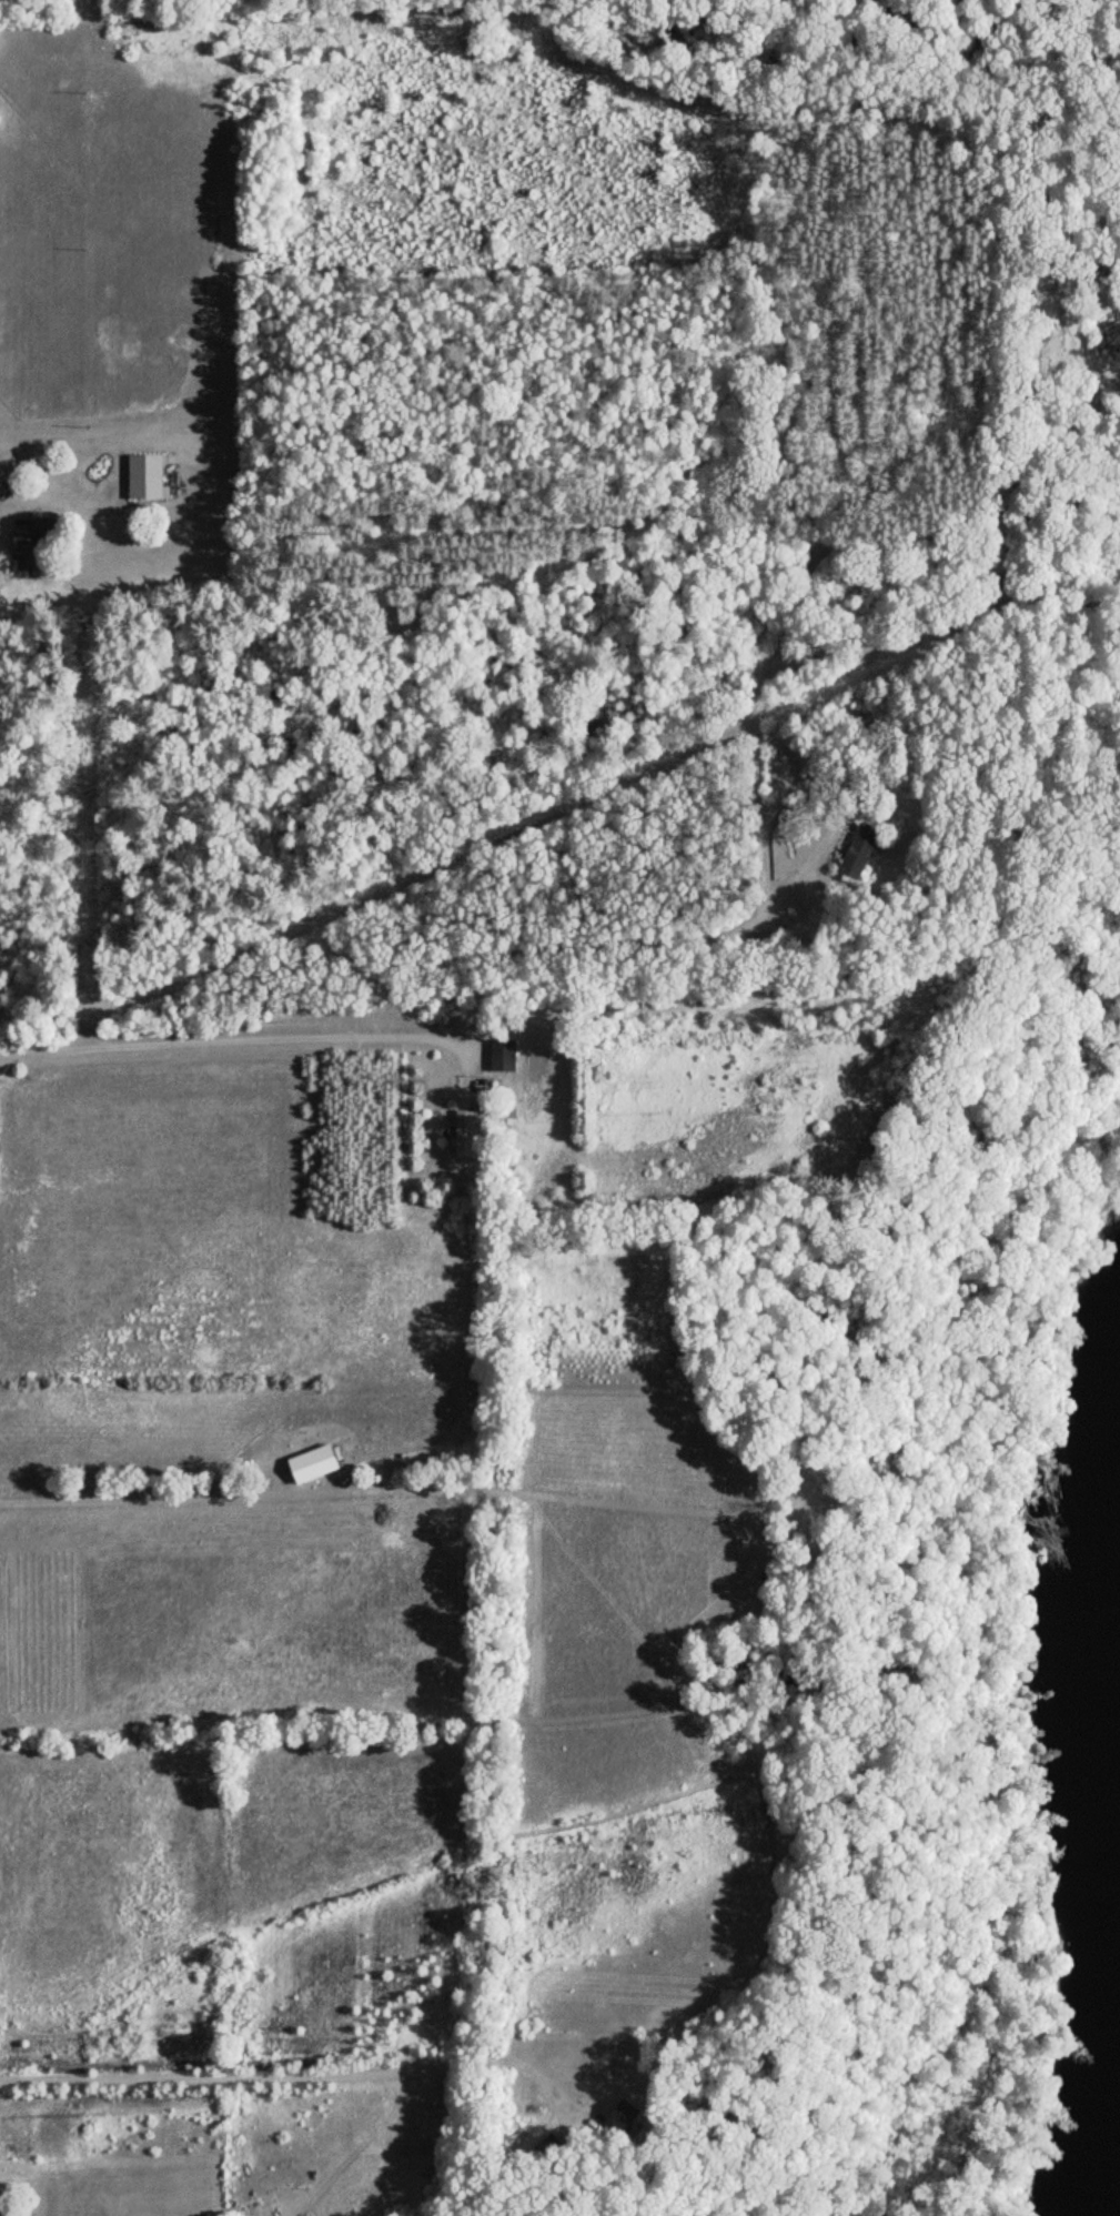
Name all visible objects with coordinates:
road: (93, 440)
building: (143, 479)
building: (32, 546)
road: (944, 615)
road: (845, 804)
building: (857, 853)
road: (741, 930)
road: (255, 1042)
building: (500, 1057)
river: (1096, 1653)
road: (301, 2072)
building: (619, 2116)
river: (1109, 2182)

